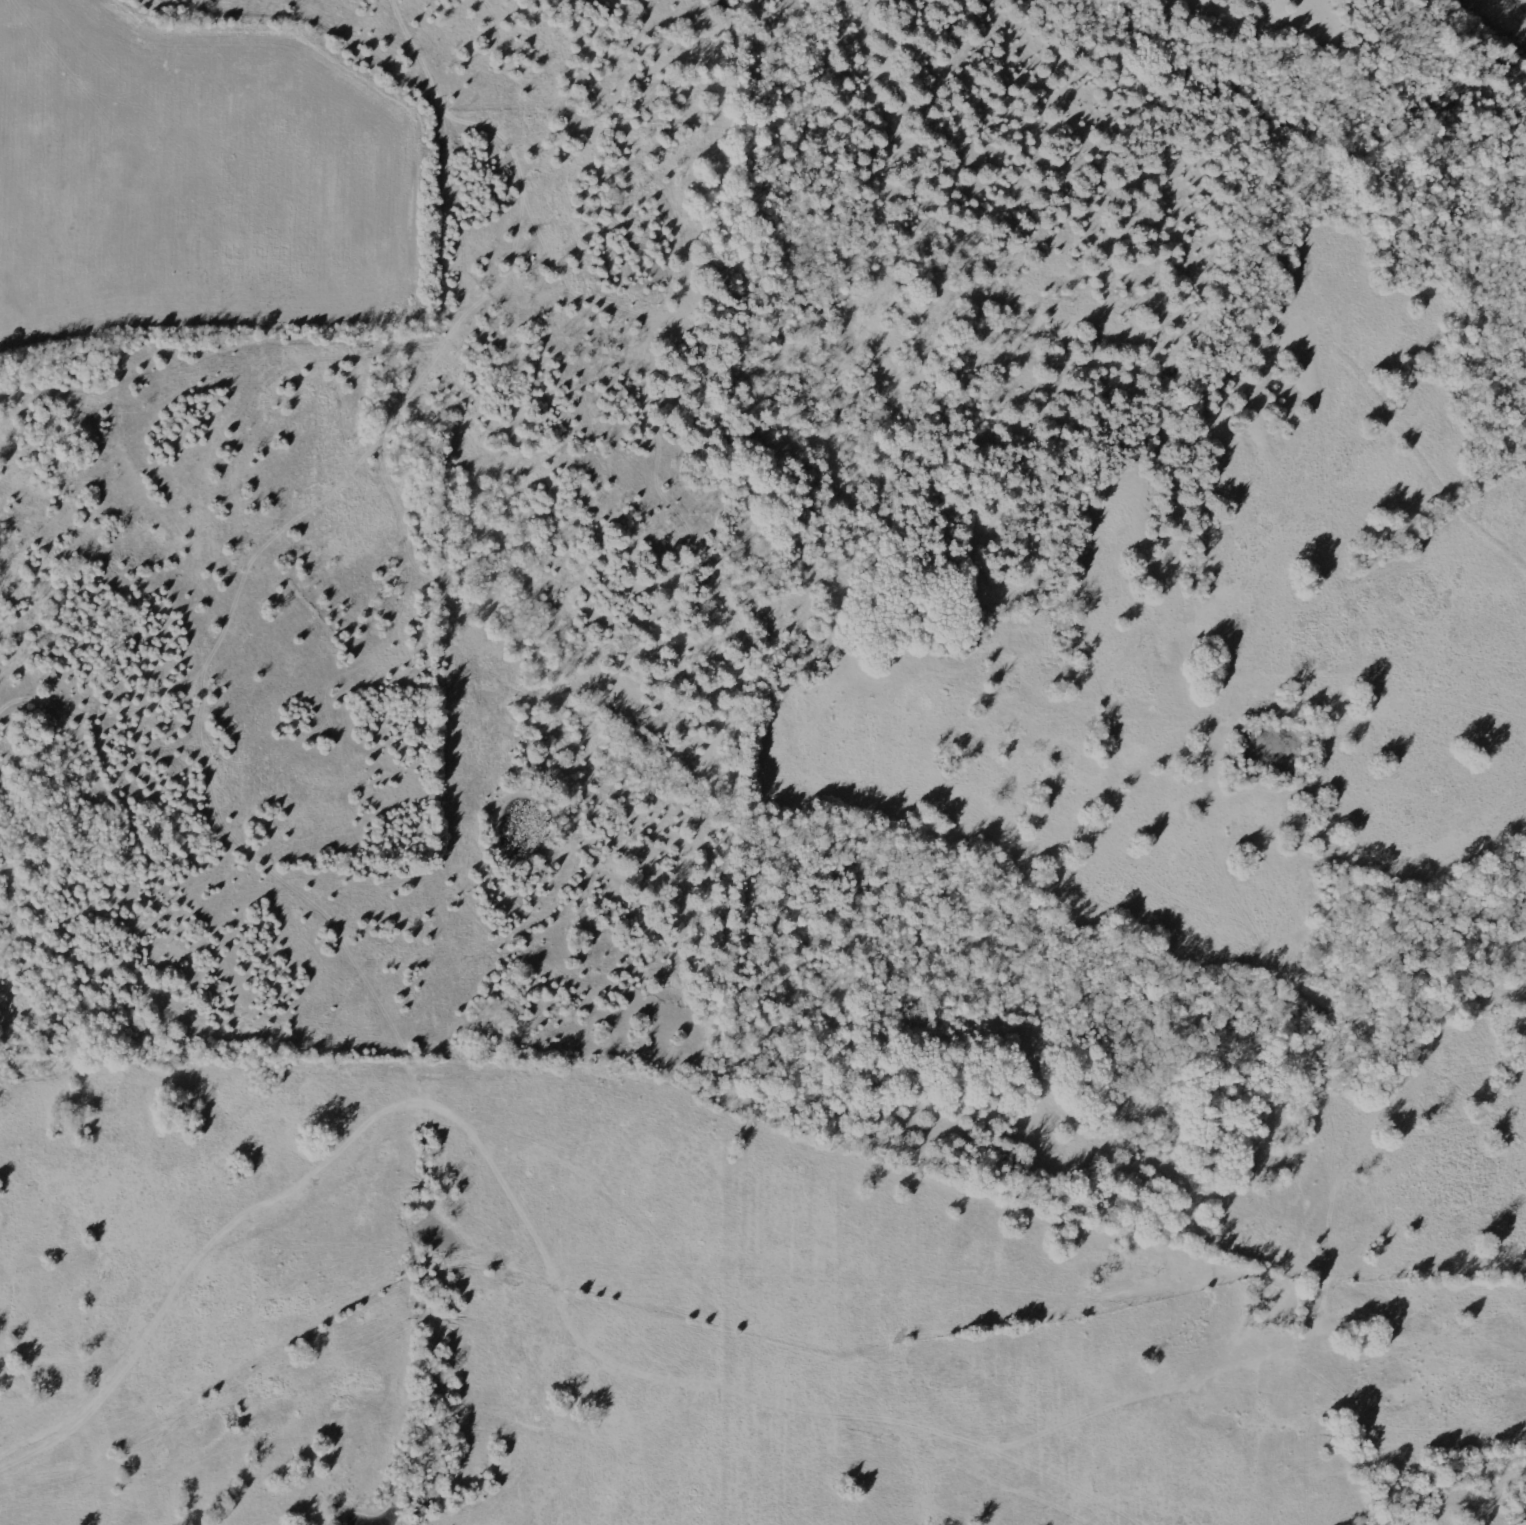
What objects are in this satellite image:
road: (518, 1415)

